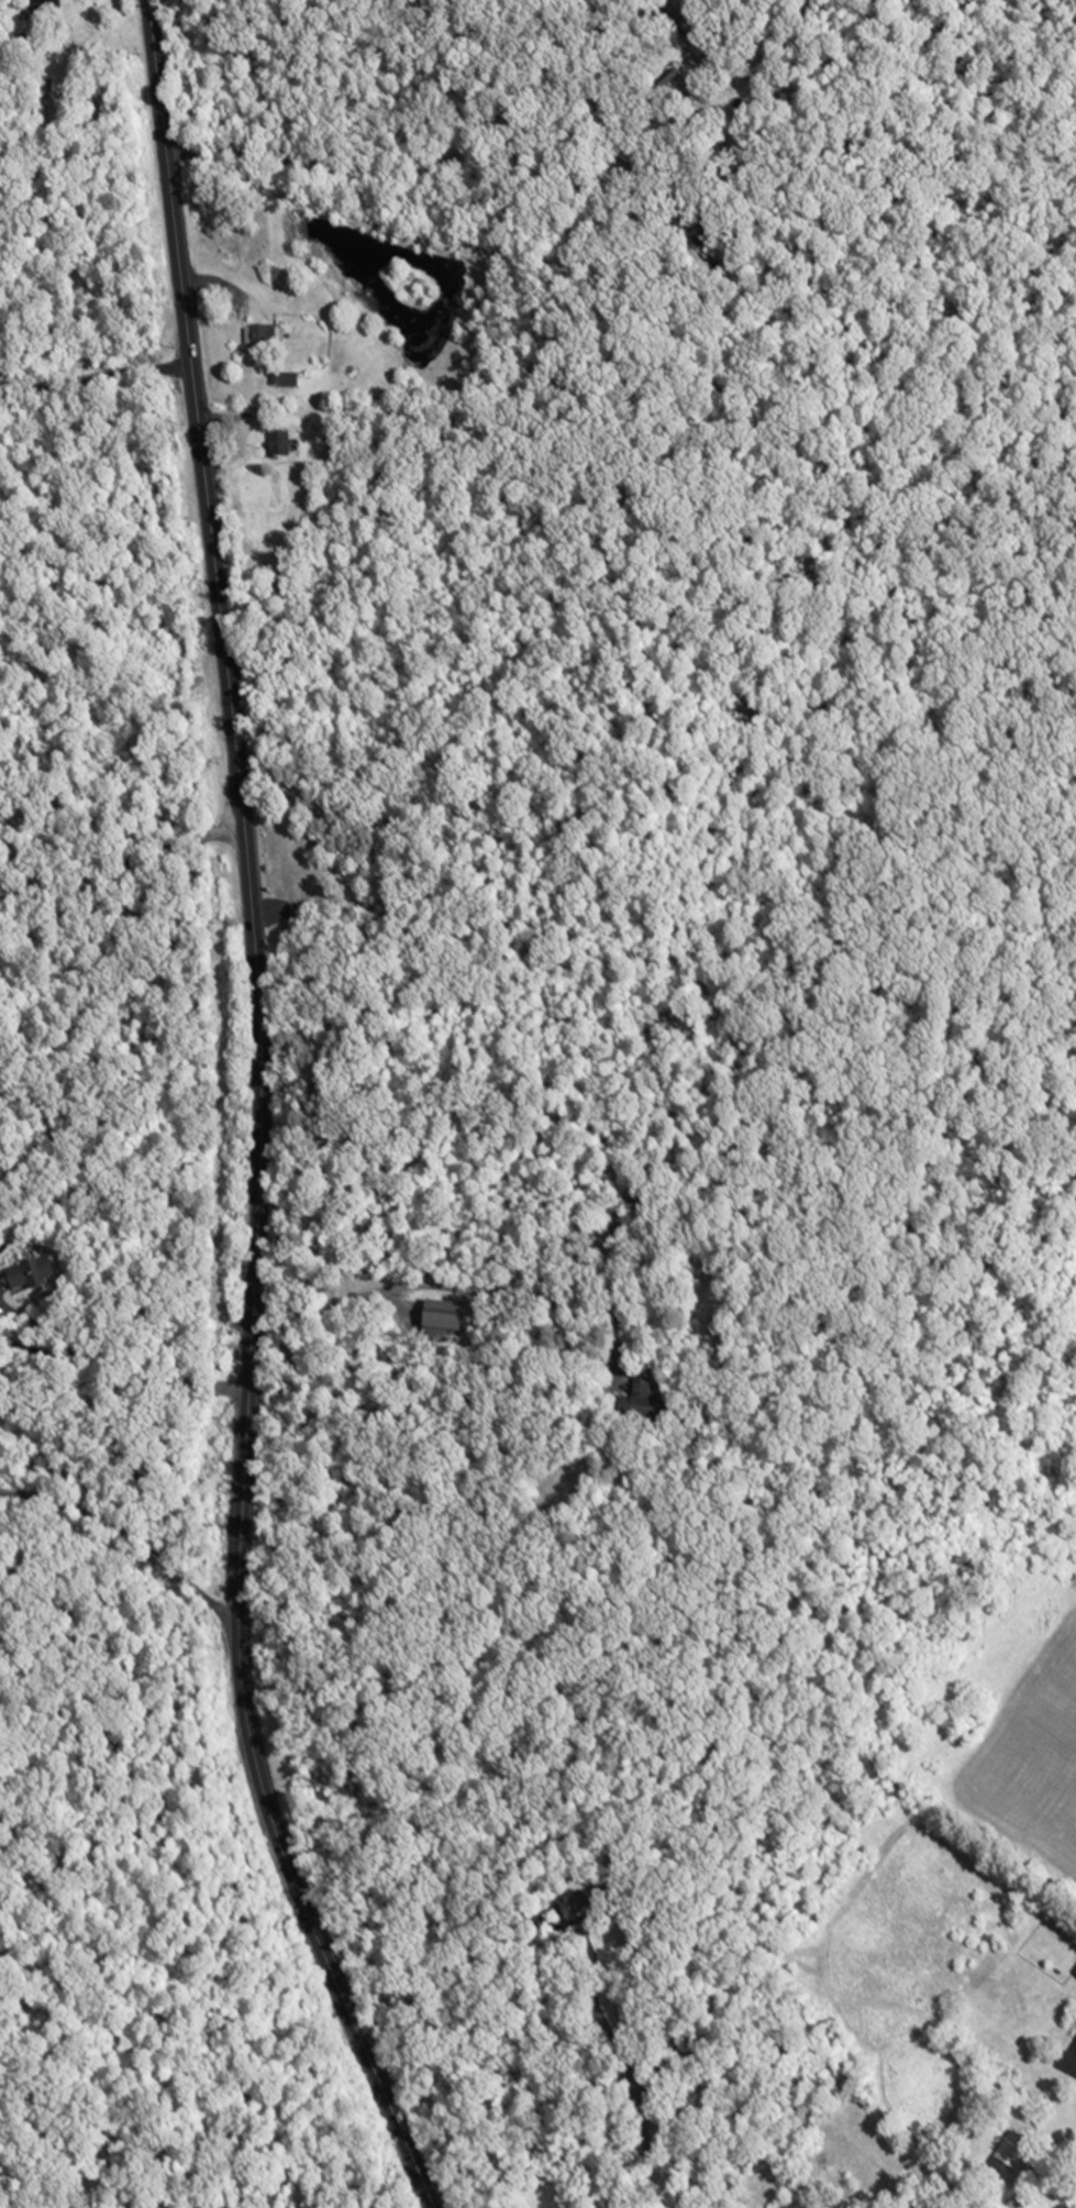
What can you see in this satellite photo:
building: (51, 11)
road: (434, 161)
building: (269, 340)
road: (96, 374)
building: (288, 446)
road: (125, 872)
road: (260, 1119)
building: (37, 1279)
road: (490, 1294)
road: (32, 1320)
building: (454, 1320)
road: (27, 1346)
road: (149, 1385)
building: (650, 1396)
road: (126, 1537)
road: (620, 2057)
building: (1021, 2149)

